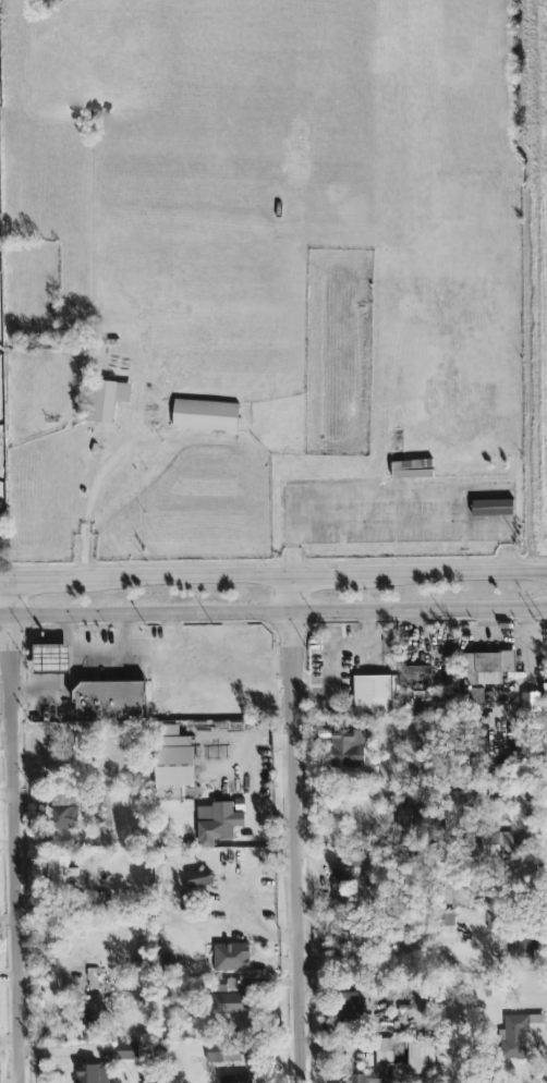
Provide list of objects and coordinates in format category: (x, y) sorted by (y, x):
building: (106, 401)
building: (205, 417)
road: (88, 499)
building: (493, 510)
road: (326, 576)
road: (453, 576)
road: (185, 577)
road: (44, 579)
road: (4, 580)
road: (272, 611)
building: (507, 637)
road: (94, 645)
building: (51, 660)
building: (484, 673)
building: (415, 679)
road: (62, 692)
building: (373, 696)
building: (110, 702)
building: (530, 703)
building: (348, 750)
building: (173, 758)
building: (406, 801)
building: (459, 810)
building: (64, 819)
building: (411, 820)
building: (217, 825)
road: (295, 829)
road: (14, 830)
building: (496, 844)
building: (520, 873)
building: (61, 874)
building: (197, 879)
building: (341, 880)
building: (342, 925)
building: (446, 925)
building: (340, 948)
building: (524, 949)
building: (232, 959)
building: (92, 979)
building: (497, 989)
building: (230, 1005)
building: (347, 1008)
building: (90, 1015)
building: (520, 1034)
building: (127, 1052)
building: (222, 1052)
building: (421, 1058)
building: (380, 1067)
building: (90, 1074)
building: (236, 1079)

